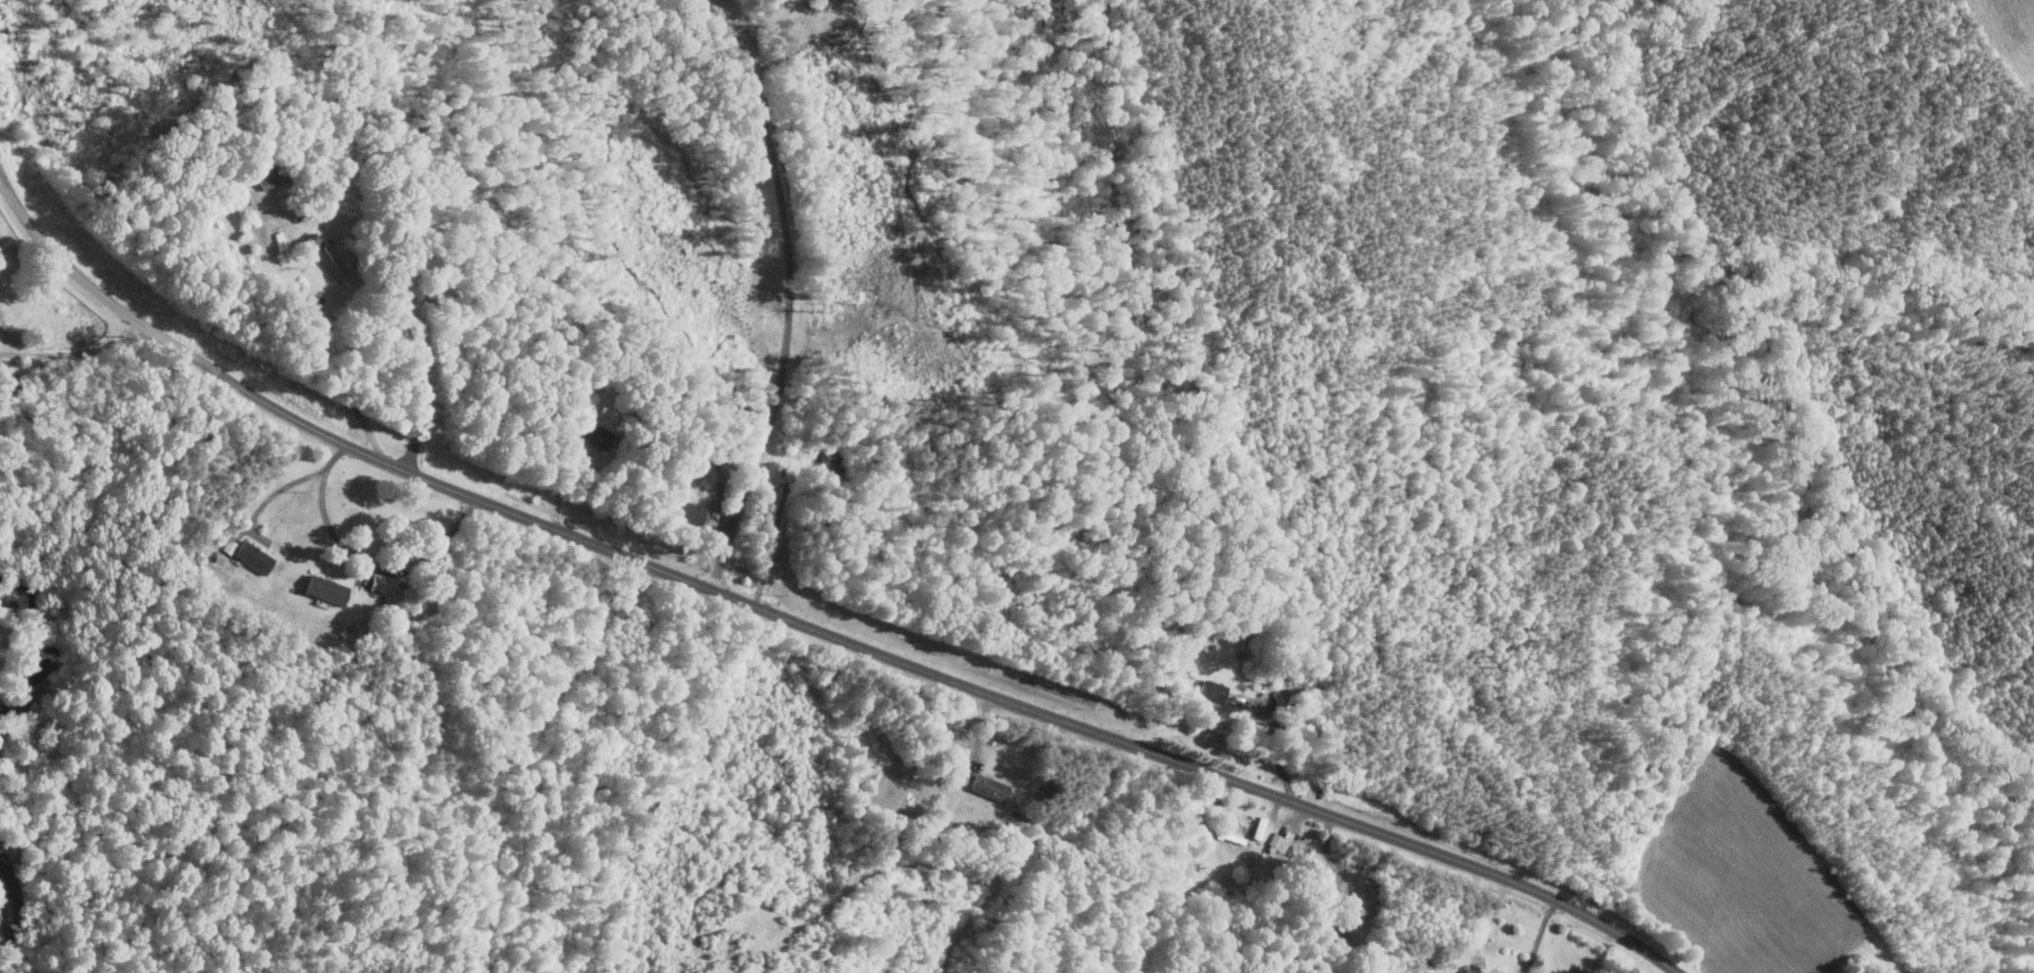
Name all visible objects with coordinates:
road: (732, 30)
building: (262, 173)
road: (96, 290)
road: (785, 331)
road: (75, 352)
road: (339, 381)
building: (595, 434)
road: (295, 481)
road: (564, 484)
building: (687, 511)
road: (326, 518)
road: (773, 541)
building: (251, 556)
building: (380, 582)
building: (324, 588)
road: (1354, 623)
road: (946, 681)
building: (1211, 690)
road: (1648, 726)
road: (1280, 749)
building: (988, 787)
building: (1278, 841)
road: (1540, 936)

